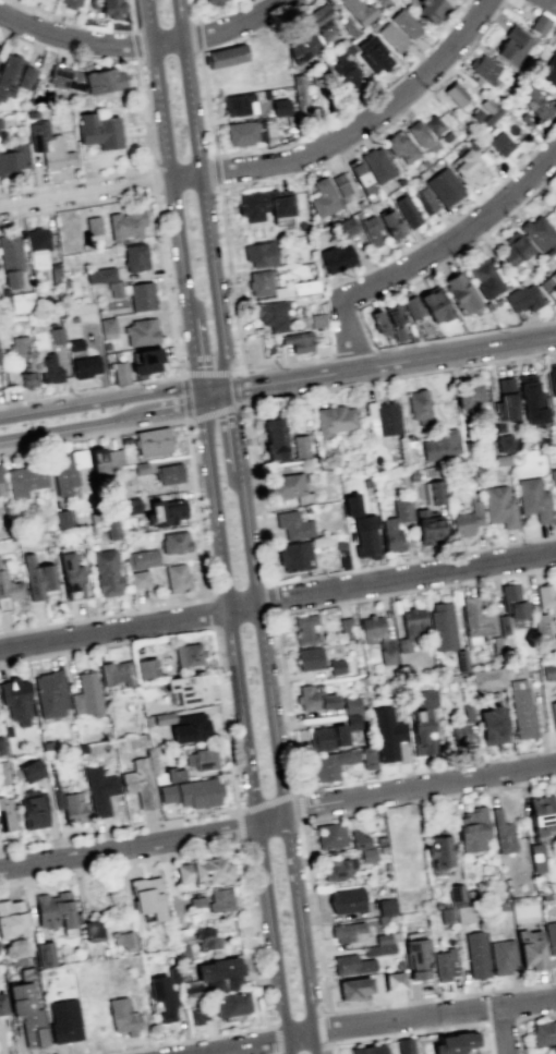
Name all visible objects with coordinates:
road: (249, 0)
building: (71, 2)
building: (380, 2)
building: (219, 3)
road: (464, 5)
building: (392, 7)
building: (111, 9)
building: (432, 9)
road: (194, 10)
building: (358, 11)
building: (542, 14)
building: (321, 21)
building: (404, 22)
road: (86, 27)
building: (348, 28)
road: (196, 36)
building: (391, 36)
road: (143, 43)
building: (511, 44)
road: (135, 45)
building: (303, 47)
building: (349, 48)
building: (372, 54)
building: (226, 56)
building: (487, 70)
building: (548, 70)
building: (13, 74)
building: (348, 74)
building: (86, 78)
building: (299, 93)
building: (455, 93)
building: (265, 94)
building: (536, 101)
building: (239, 104)
building: (486, 105)
building: (279, 106)
building: (474, 114)
building: (492, 116)
building: (0, 123)
building: (436, 128)
building: (98, 130)
road: (133, 130)
road: (352, 130)
building: (250, 132)
road: (373, 133)
building: (419, 133)
building: (471, 142)
building: (47, 143)
building: (499, 143)
road: (288, 144)
building: (399, 146)
road: (169, 148)
building: (13, 158)
building: (423, 162)
building: (376, 163)
building: (468, 168)
parking lot: (87, 170)
road: (129, 171)
road: (216, 171)
road: (266, 178)
building: (360, 178)
road: (152, 180)
building: (399, 180)
building: (340, 184)
building: (443, 186)
road: (86, 192)
road: (197, 196)
building: (323, 197)
building: (423, 201)
building: (265, 204)
road: (63, 207)
building: (407, 210)
road: (26, 214)
road: (452, 218)
building: (125, 223)
building: (389, 223)
building: (93, 225)
building: (343, 227)
building: (370, 230)
building: (540, 233)
building: (37, 246)
building: (512, 249)
building: (259, 254)
road: (430, 254)
building: (134, 257)
building: (10, 258)
building: (335, 258)
road: (443, 261)
building: (53, 272)
building: (105, 279)
building: (484, 279)
road: (230, 283)
building: (264, 284)
building: (304, 287)
building: (548, 287)
building: (460, 294)
building: (141, 296)
building: (522, 298)
building: (21, 302)
building: (434, 304)
building: (410, 306)
building: (270, 314)
building: (394, 314)
building: (300, 318)
building: (317, 319)
building: (378, 323)
building: (107, 325)
building: (423, 326)
building: (141, 331)
building: (398, 332)
road: (172, 334)
road: (464, 335)
building: (56, 336)
building: (410, 336)
road: (194, 340)
building: (297, 341)
building: (74, 343)
building: (19, 348)
building: (146, 361)
road: (389, 362)
building: (84, 366)
building: (48, 369)
building: (120, 372)
road: (401, 376)
building: (552, 378)
building: (26, 379)
road: (213, 388)
building: (469, 395)
building: (531, 399)
building: (505, 400)
road: (100, 401)
road: (242, 403)
building: (418, 403)
road: (168, 410)
road: (184, 413)
building: (383, 416)
building: (334, 420)
building: (498, 427)
road: (55, 433)
road: (93, 435)
building: (274, 438)
building: (125, 439)
building: (152, 440)
road: (231, 441)
building: (504, 443)
building: (439, 445)
building: (300, 446)
building: (77, 458)
building: (113, 458)
building: (500, 459)
building: (98, 463)
building: (140, 468)
building: (168, 473)
building: (61, 475)
building: (411, 475)
building: (552, 476)
building: (24, 480)
building: (286, 485)
building: (1, 486)
building: (435, 492)
building: (303, 497)
building: (533, 499)
building: (130, 505)
building: (351, 505)
building: (498, 506)
building: (400, 509)
building: (165, 511)
building: (61, 518)
building: (467, 519)
building: (293, 524)
building: (426, 526)
building: (111, 530)
building: (390, 535)
building: (365, 536)
building: (174, 542)
building: (342, 554)
building: (294, 555)
building: (141, 558)
building: (70, 572)
building: (106, 572)
road: (323, 573)
building: (37, 578)
building: (177, 578)
building: (137, 579)
building: (9, 590)
road: (273, 597)
building: (546, 597)
road: (192, 601)
building: (512, 601)
road: (278, 602)
road: (326, 603)
road: (209, 611)
building: (475, 617)
building: (540, 623)
building: (444, 625)
building: (503, 625)
building: (371, 626)
building: (410, 627)
building: (345, 628)
road: (197, 629)
building: (304, 629)
building: (188, 653)
building: (387, 656)
building: (309, 658)
building: (460, 659)
building: (335, 666)
building: (145, 667)
building: (547, 670)
building: (116, 673)
building: (486, 679)
building: (188, 689)
building: (50, 693)
building: (86, 694)
building: (313, 698)
building: (16, 700)
building: (351, 704)
building: (468, 713)
building: (521, 713)
building: (553, 714)
building: (162, 718)
road: (243, 718)
building: (147, 720)
building: (352, 720)
building: (422, 723)
building: (194, 725)
building: (491, 725)
building: (386, 732)
building: (459, 734)
building: (326, 737)
building: (1, 746)
building: (366, 758)
building: (202, 759)
building: (329, 764)
building: (31, 770)
building: (3, 772)
road: (274, 773)
building: (172, 774)
building: (138, 783)
building: (98, 789)
road: (396, 791)
building: (192, 792)
road: (299, 805)
road: (252, 807)
building: (32, 808)
building: (72, 808)
building: (541, 813)
building: (5, 814)
road: (327, 816)
building: (472, 828)
road: (118, 829)
building: (501, 832)
building: (329, 835)
building: (407, 836)
building: (358, 839)
building: (379, 839)
road: (119, 847)
road: (215, 848)
building: (382, 848)
building: (437, 852)
building: (367, 855)
building: (535, 857)
building: (386, 867)
building: (336, 868)
building: (203, 871)
building: (401, 879)
building: (456, 894)
building: (147, 896)
building: (544, 896)
building: (220, 899)
building: (347, 899)
building: (196, 901)
building: (503, 905)
building: (386, 906)
building: (55, 910)
building: (462, 913)
building: (444, 914)
building: (12, 918)
building: (379, 920)
building: (92, 930)
building: (348, 932)
building: (549, 936)
building: (386, 937)
building: (122, 938)
building: (205, 938)
building: (378, 948)
building: (530, 948)
building: (182, 950)
building: (45, 954)
building: (475, 955)
building: (501, 956)
building: (415, 957)
building: (444, 964)
building: (351, 965)
building: (172, 973)
building: (219, 974)
building: (392, 980)
building: (353, 989)
building: (192, 990)
building: (162, 996)
building: (231, 1003)
building: (2, 1004)
building: (26, 1008)
road: (346, 1008)
road: (323, 1011)
building: (197, 1014)
building: (122, 1016)
building: (63, 1020)
road: (297, 1020)
road: (375, 1021)
road: (319, 1028)
road: (418, 1030)
road: (501, 1030)
building: (543, 1032)
road: (276, 1039)
road: (182, 1040)
road: (327, 1043)
building: (454, 1043)
road: (302, 1045)
building: (403, 1045)
building: (367, 1049)
building: (552, 1049)

